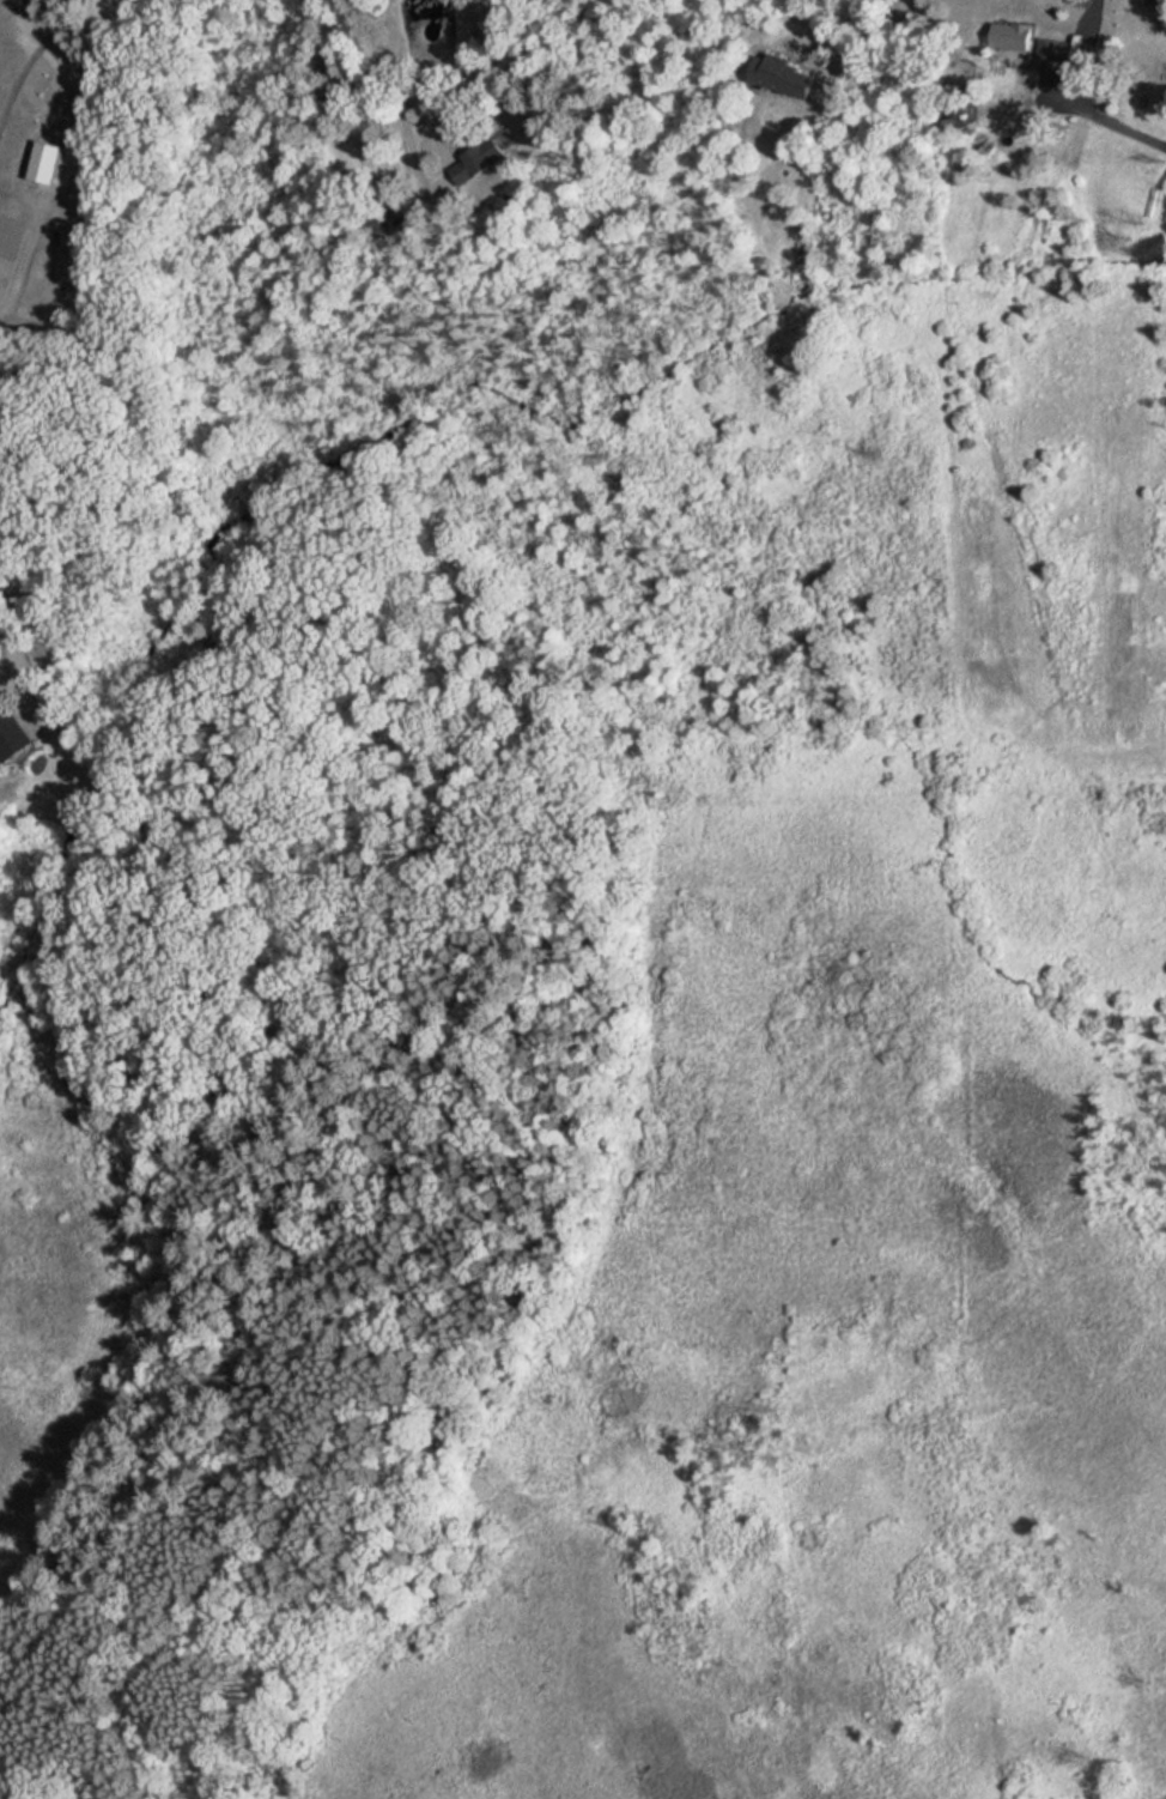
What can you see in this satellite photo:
building: (1010, 36)
road: (870, 47)
building: (1050, 49)
building: (782, 75)
road: (389, 89)
road: (1106, 109)
building: (476, 160)
building: (378, 223)
road: (14, 652)
building: (11, 735)
park: (587, 1290)

